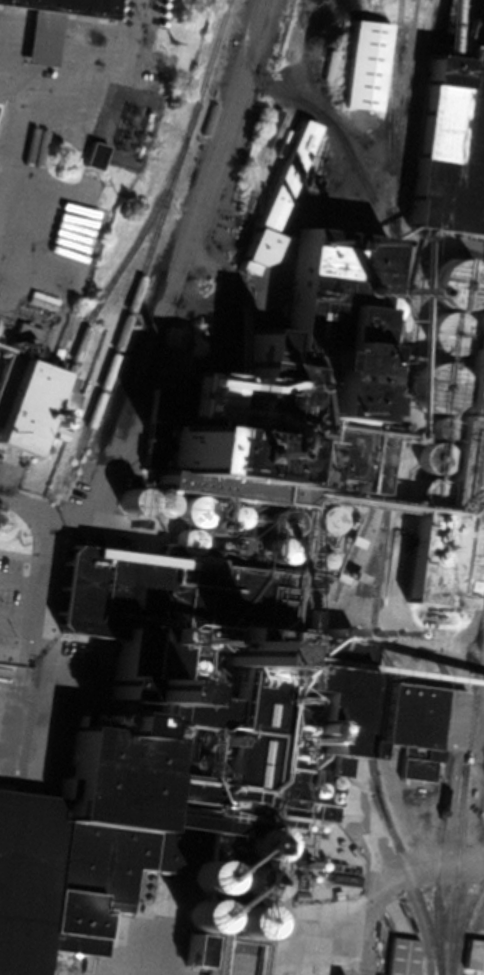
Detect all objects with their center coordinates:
building: (456, 11)
building: (56, 23)
building: (368, 64)
railway: (406, 81)
railway: (287, 108)
building: (256, 113)
building: (148, 119)
building: (142, 135)
railway: (266, 138)
building: (451, 145)
building: (138, 149)
building: (97, 154)
building: (141, 160)
building: (278, 199)
railway: (155, 232)
railway: (126, 259)
building: (31, 329)
building: (3, 331)
building: (177, 340)
road: (129, 377)
building: (38, 405)
railway: (390, 492)
road: (23, 499)
building: (454, 500)
building: (358, 518)
building: (282, 538)
building: (354, 540)
building: (359, 576)
building: (338, 577)
building: (214, 645)
railway: (455, 667)
building: (425, 725)
building: (378, 796)
railway: (462, 813)
building: (342, 841)
building: (336, 865)
building: (345, 878)
building: (339, 894)
building: (404, 900)
building: (408, 907)
railway: (463, 926)
building: (475, 953)
building: (403, 956)
building: (340, 974)

